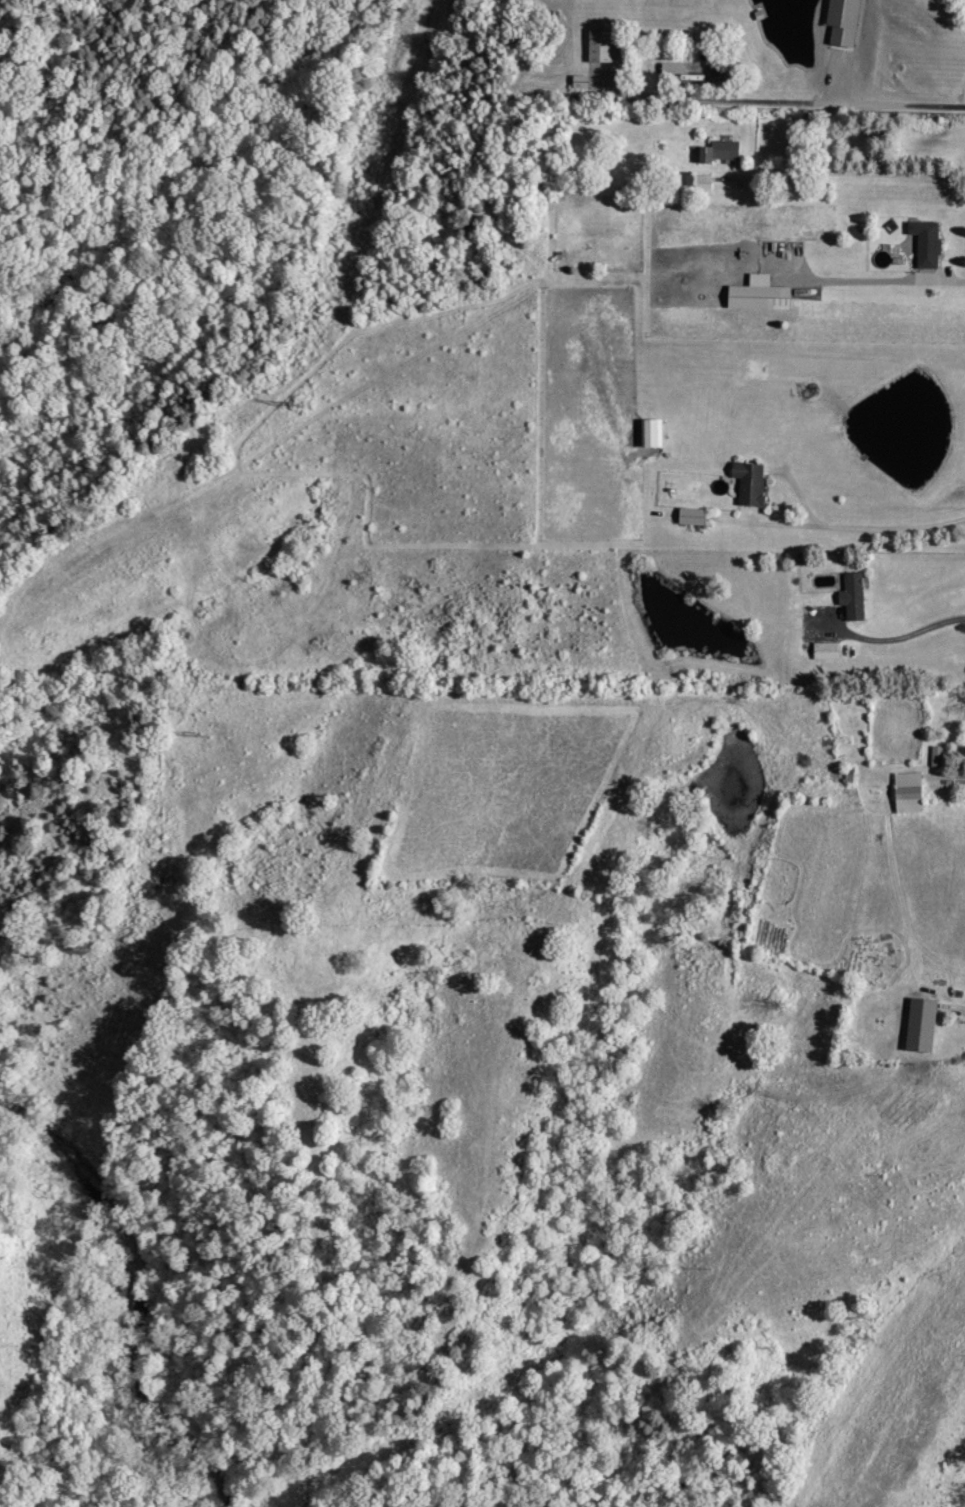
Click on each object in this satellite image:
building: (845, 21)
building: (603, 45)
building: (583, 81)
road: (779, 103)
building: (722, 152)
road: (850, 170)
building: (706, 181)
building: (929, 242)
road: (876, 279)
building: (763, 294)
building: (654, 432)
building: (753, 482)
building: (695, 516)
road: (863, 524)
building: (856, 596)
road: (897, 634)
building: (828, 650)
building: (939, 755)
building: (911, 792)
building: (924, 1025)

